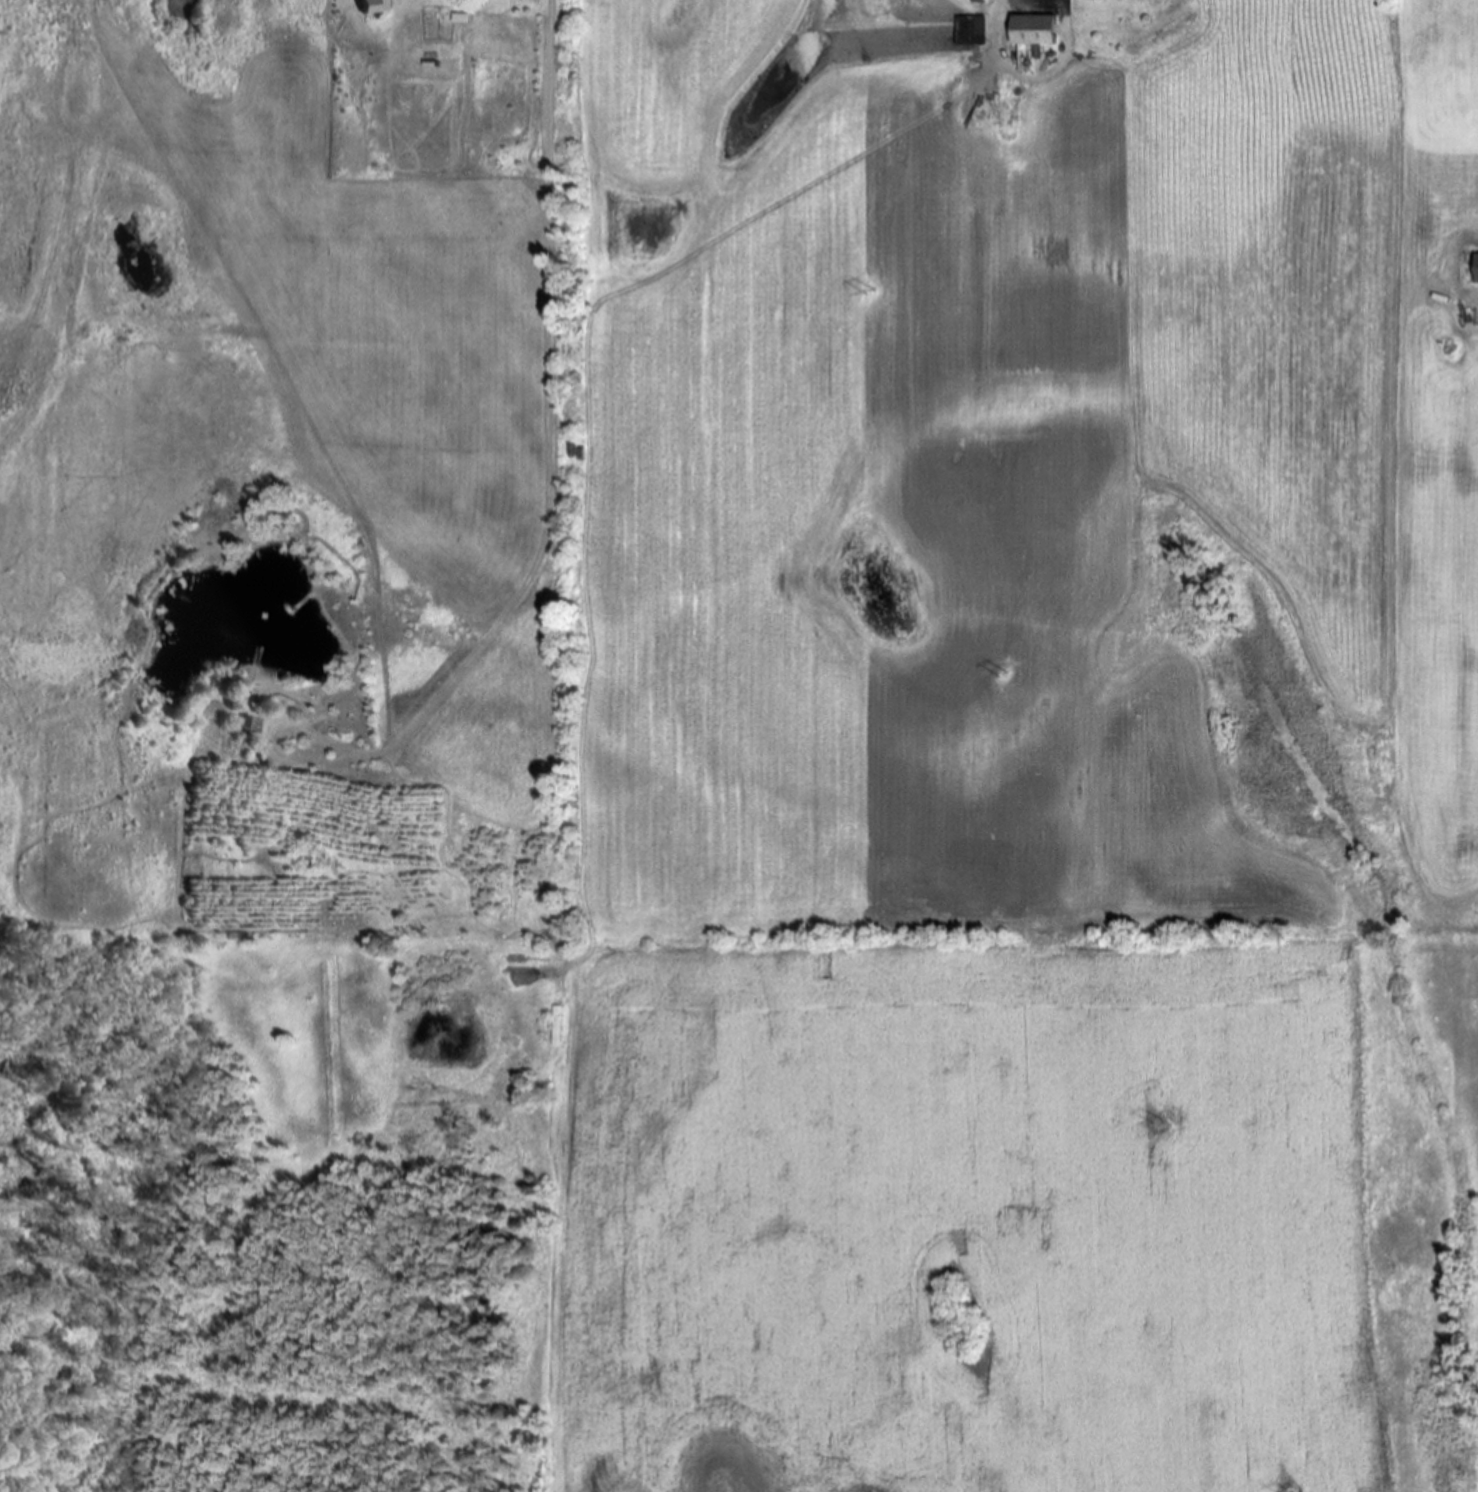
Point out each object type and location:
building: (368, 6)
building: (970, 30)
building: (1032, 30)
building: (1475, 267)
power tower: (867, 293)
road: (551, 413)
power tower: (1002, 678)
power tower: (1156, 1120)

